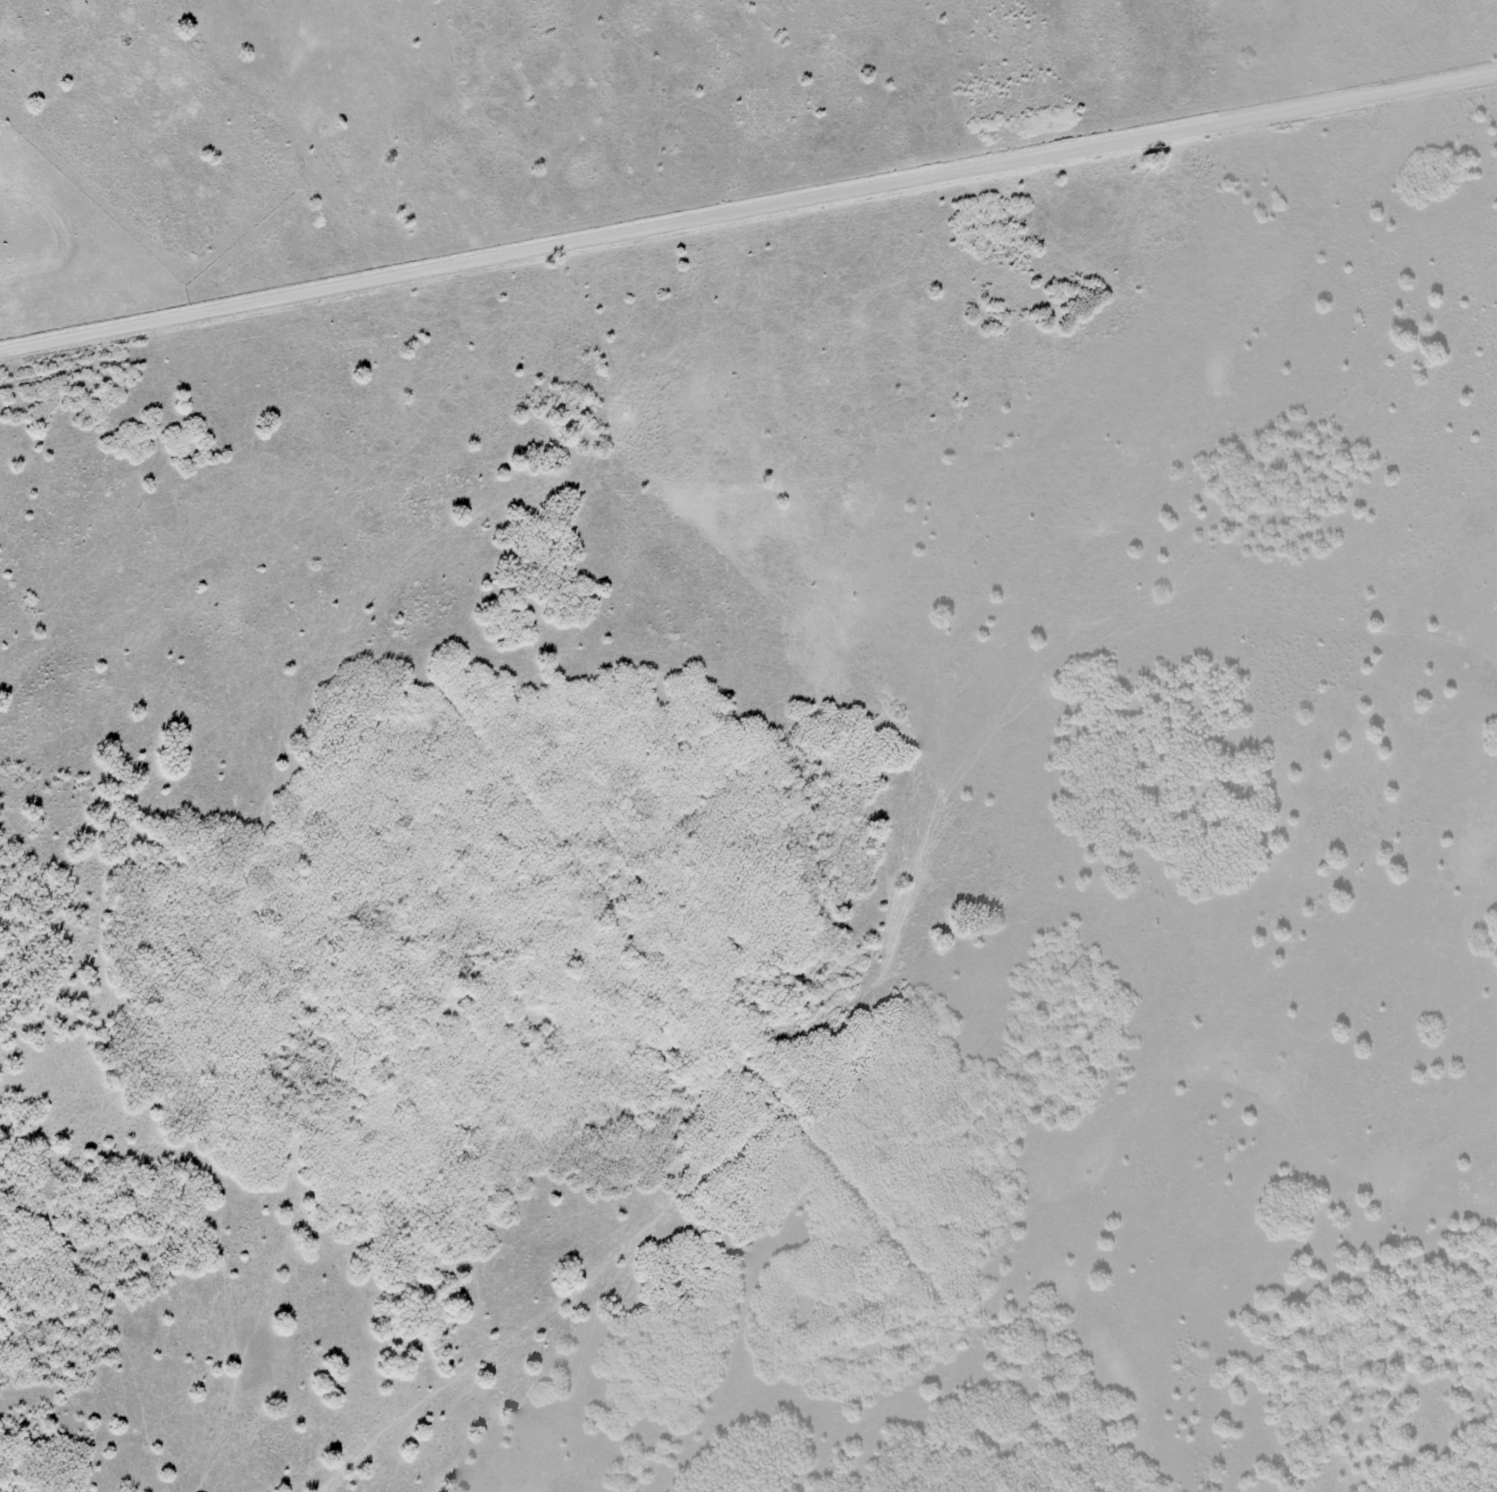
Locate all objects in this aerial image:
road: (748, 208)

